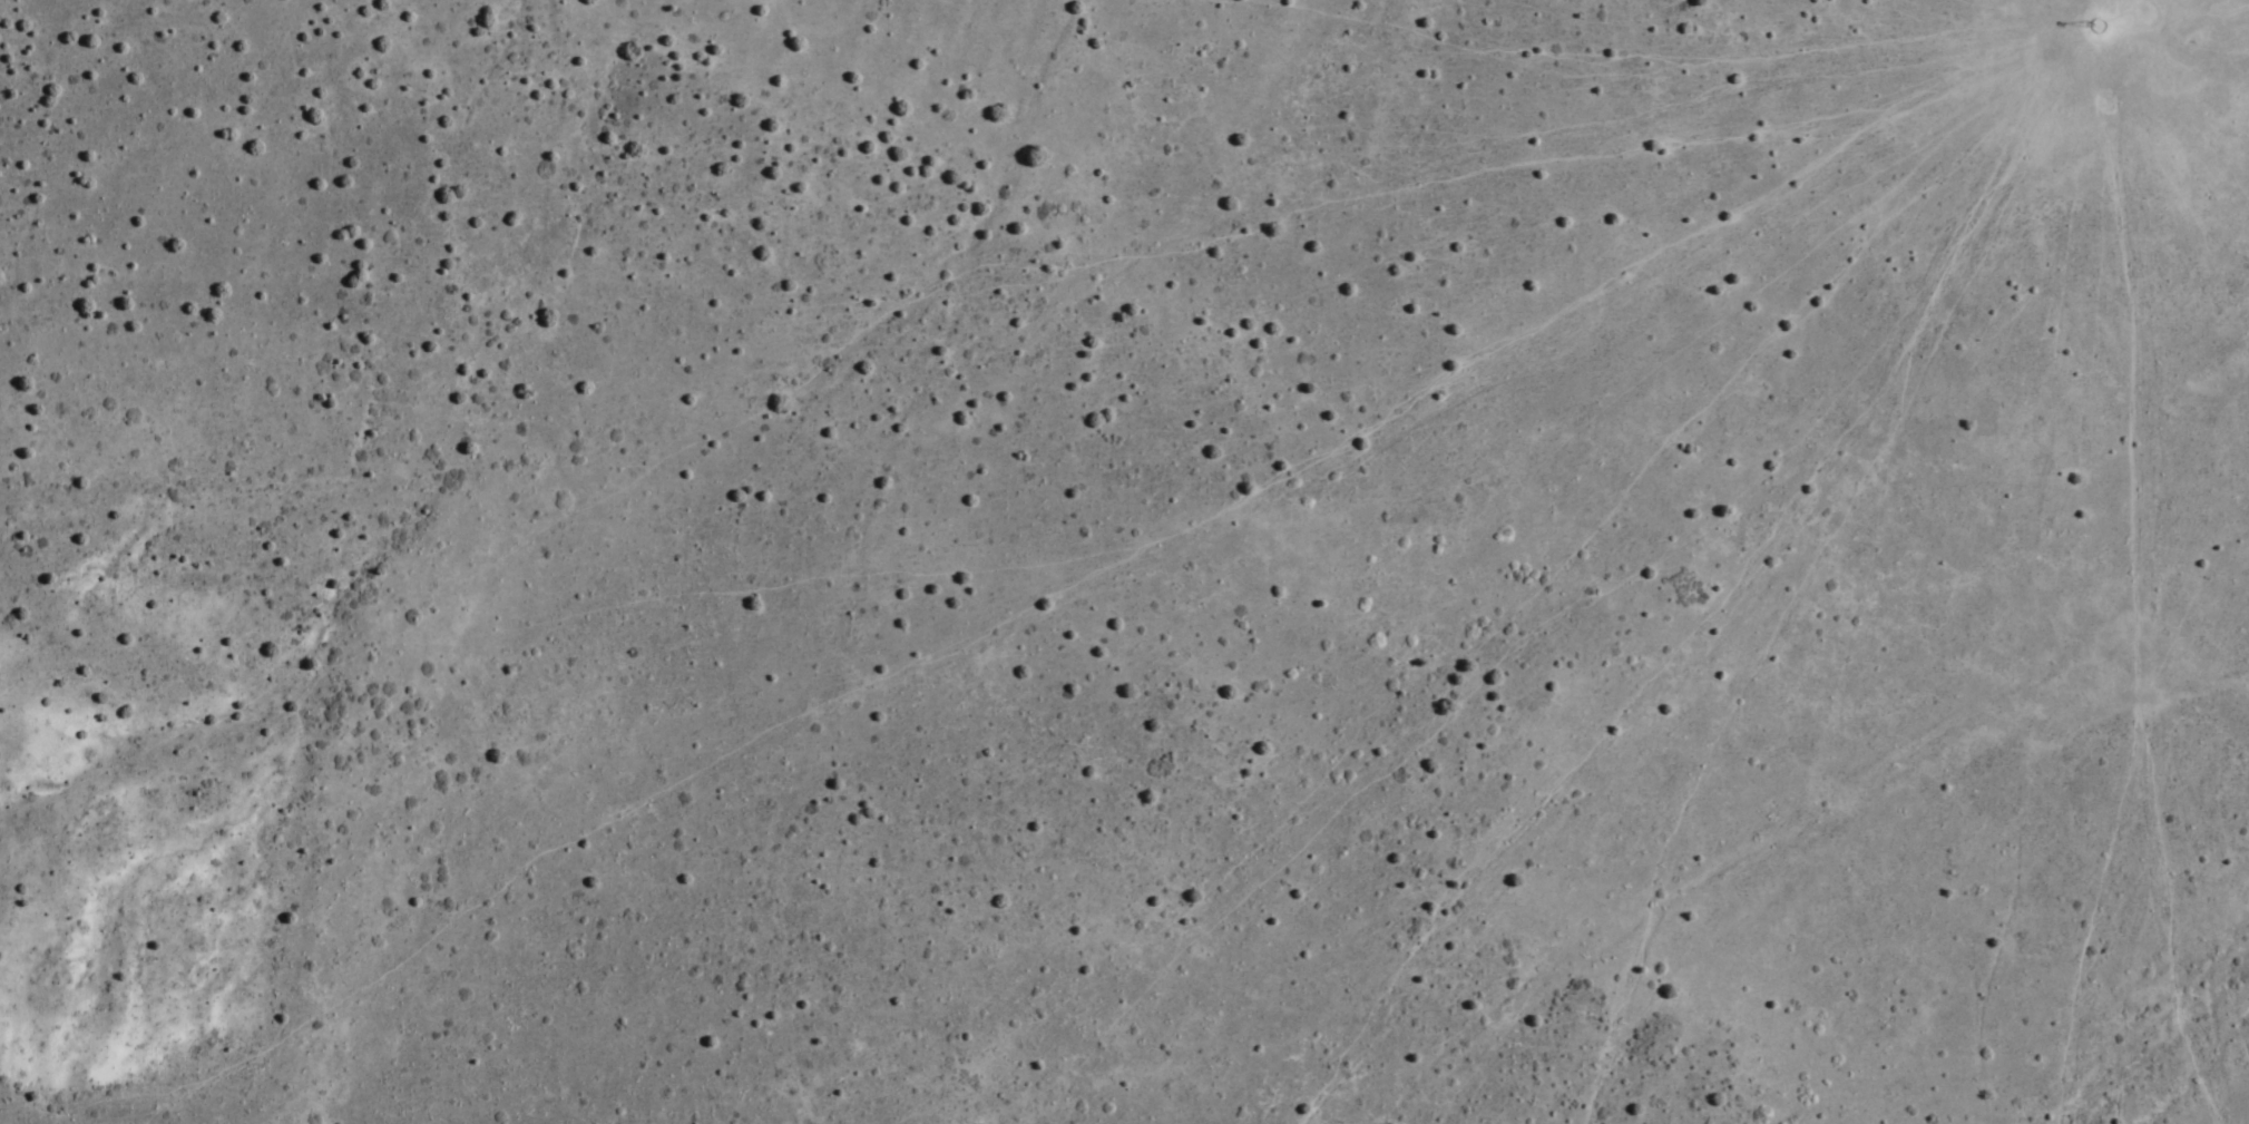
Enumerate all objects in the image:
road: (1669, 9)
road: (2181, 1057)

